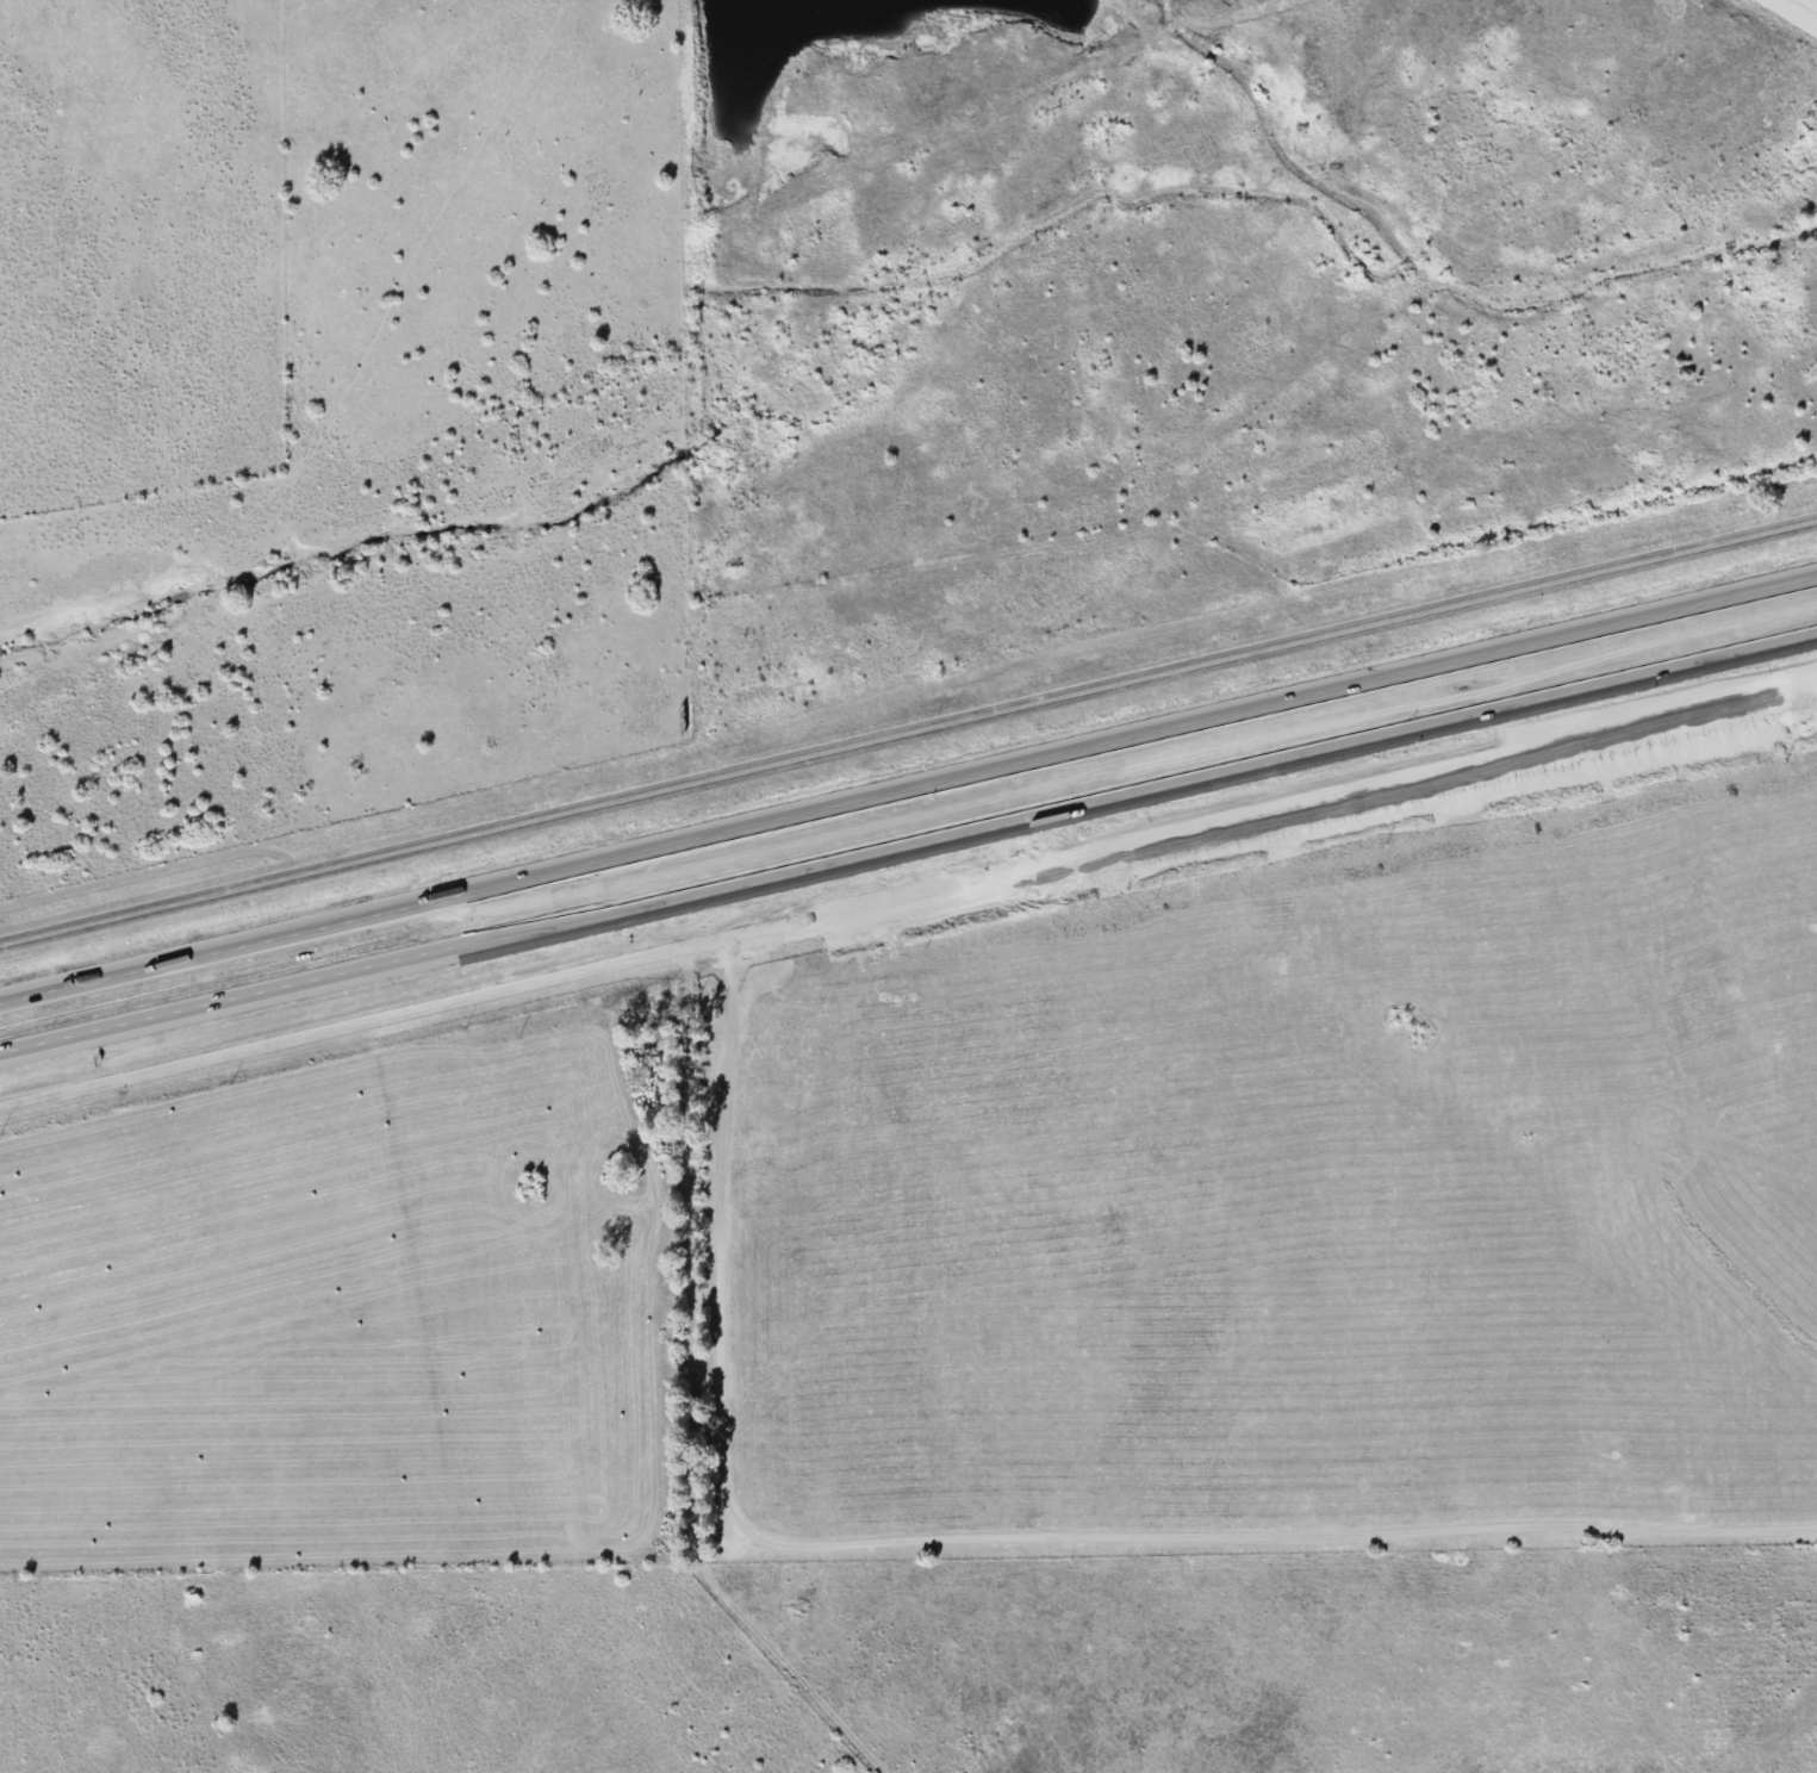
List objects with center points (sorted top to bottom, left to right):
road: (908, 732)
road: (1367, 761)
road: (908, 788)
road: (1265, 814)
road: (908, 840)
road: (357, 1022)
road: (979, 1535)

